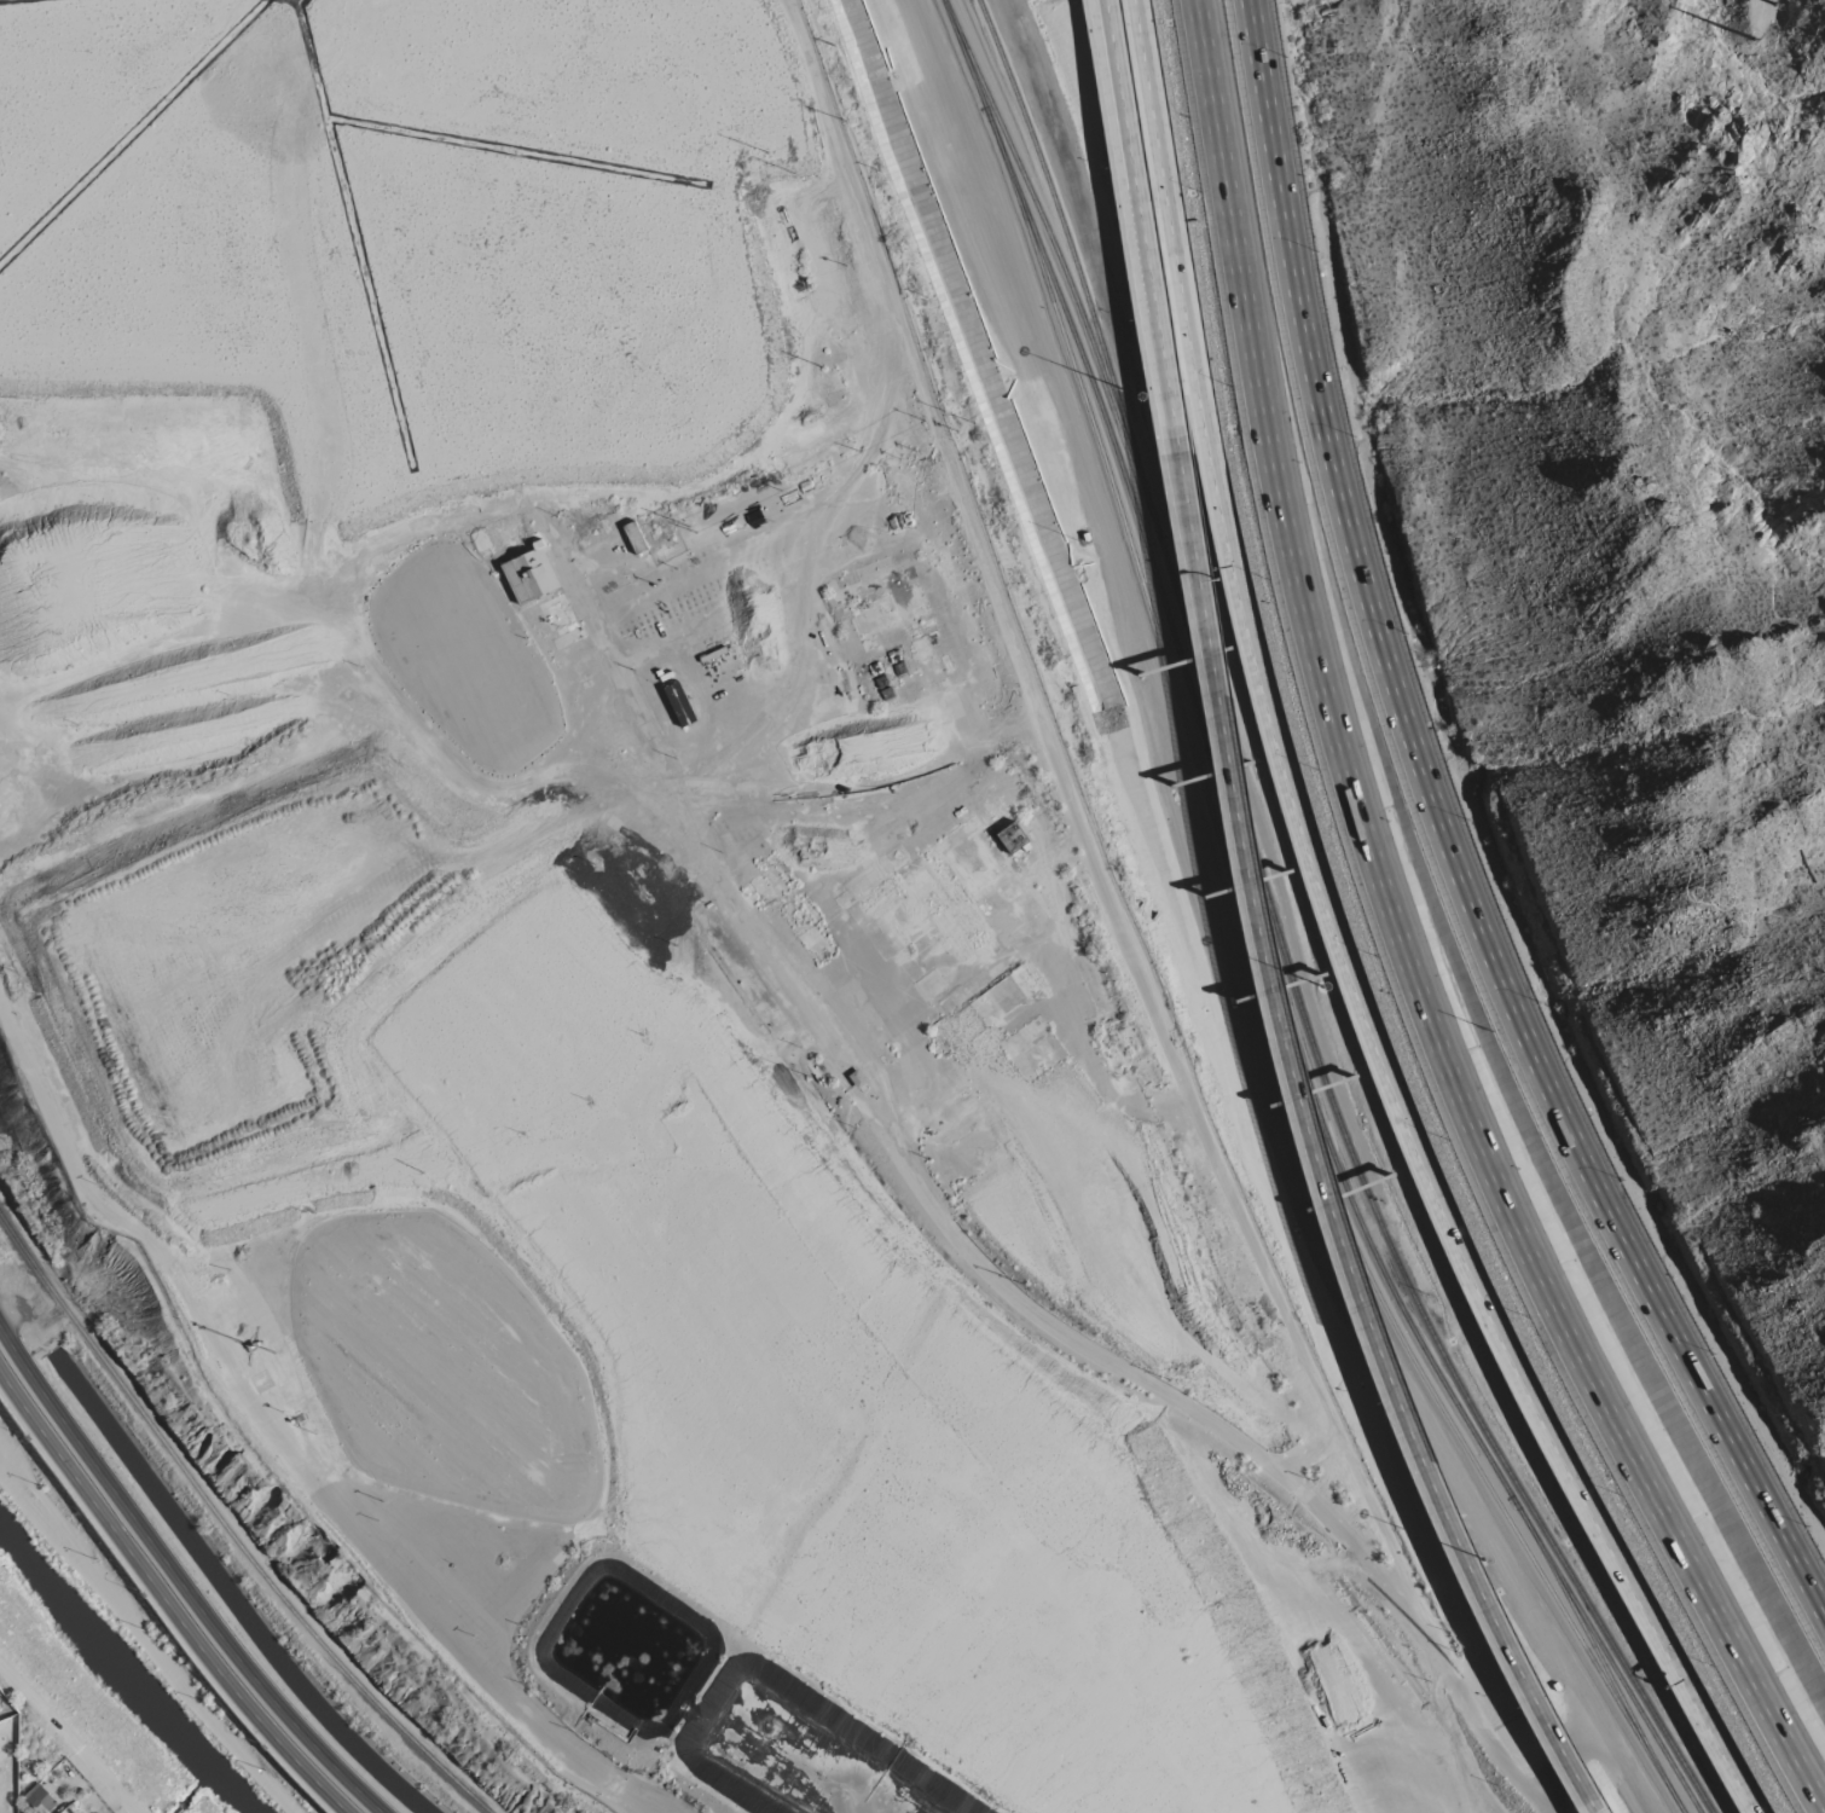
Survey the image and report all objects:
power tower: (1780, 33)
railway: (312, 39)
power tower: (833, 45)
railway: (960, 54)
road: (1181, 233)
road: (1145, 236)
railway: (1056, 265)
railway: (1073, 266)
building: (529, 577)
railway: (389, 676)
railway: (1219, 815)
road: (1447, 838)
road: (1117, 925)
road: (1402, 943)
railway: (247, 960)
railway: (1259, 991)
railway: (128, 1019)
railway: (118, 1079)
railway: (812, 1157)
road: (1430, 1164)
road: (1310, 1169)
railway: (1368, 1203)
railway: (902, 1234)
railway: (863, 1240)
railway: (689, 1246)
railway: (882, 1275)
railway: (945, 1285)
railway: (938, 1301)
railway: (823, 1321)
railway: (610, 1330)
railway: (923, 1371)
road: (1129, 1375)
railway: (1030, 1390)
railway: (1008, 1421)
road: (282, 1444)
road: (1307, 1453)
railway: (227, 1528)
road: (179, 1579)
road: (166, 1597)
road: (1323, 1603)
railway: (1218, 1609)
railway: (1604, 1655)
railway: (1593, 1656)
railway: (1419, 1666)
river: (122, 1676)
railway: (1079, 1722)
railway: (1065, 1728)
railway: (1055, 1732)
road: (69, 1734)
road: (65, 1739)
railway: (1043, 1739)
railway: (1032, 1740)

